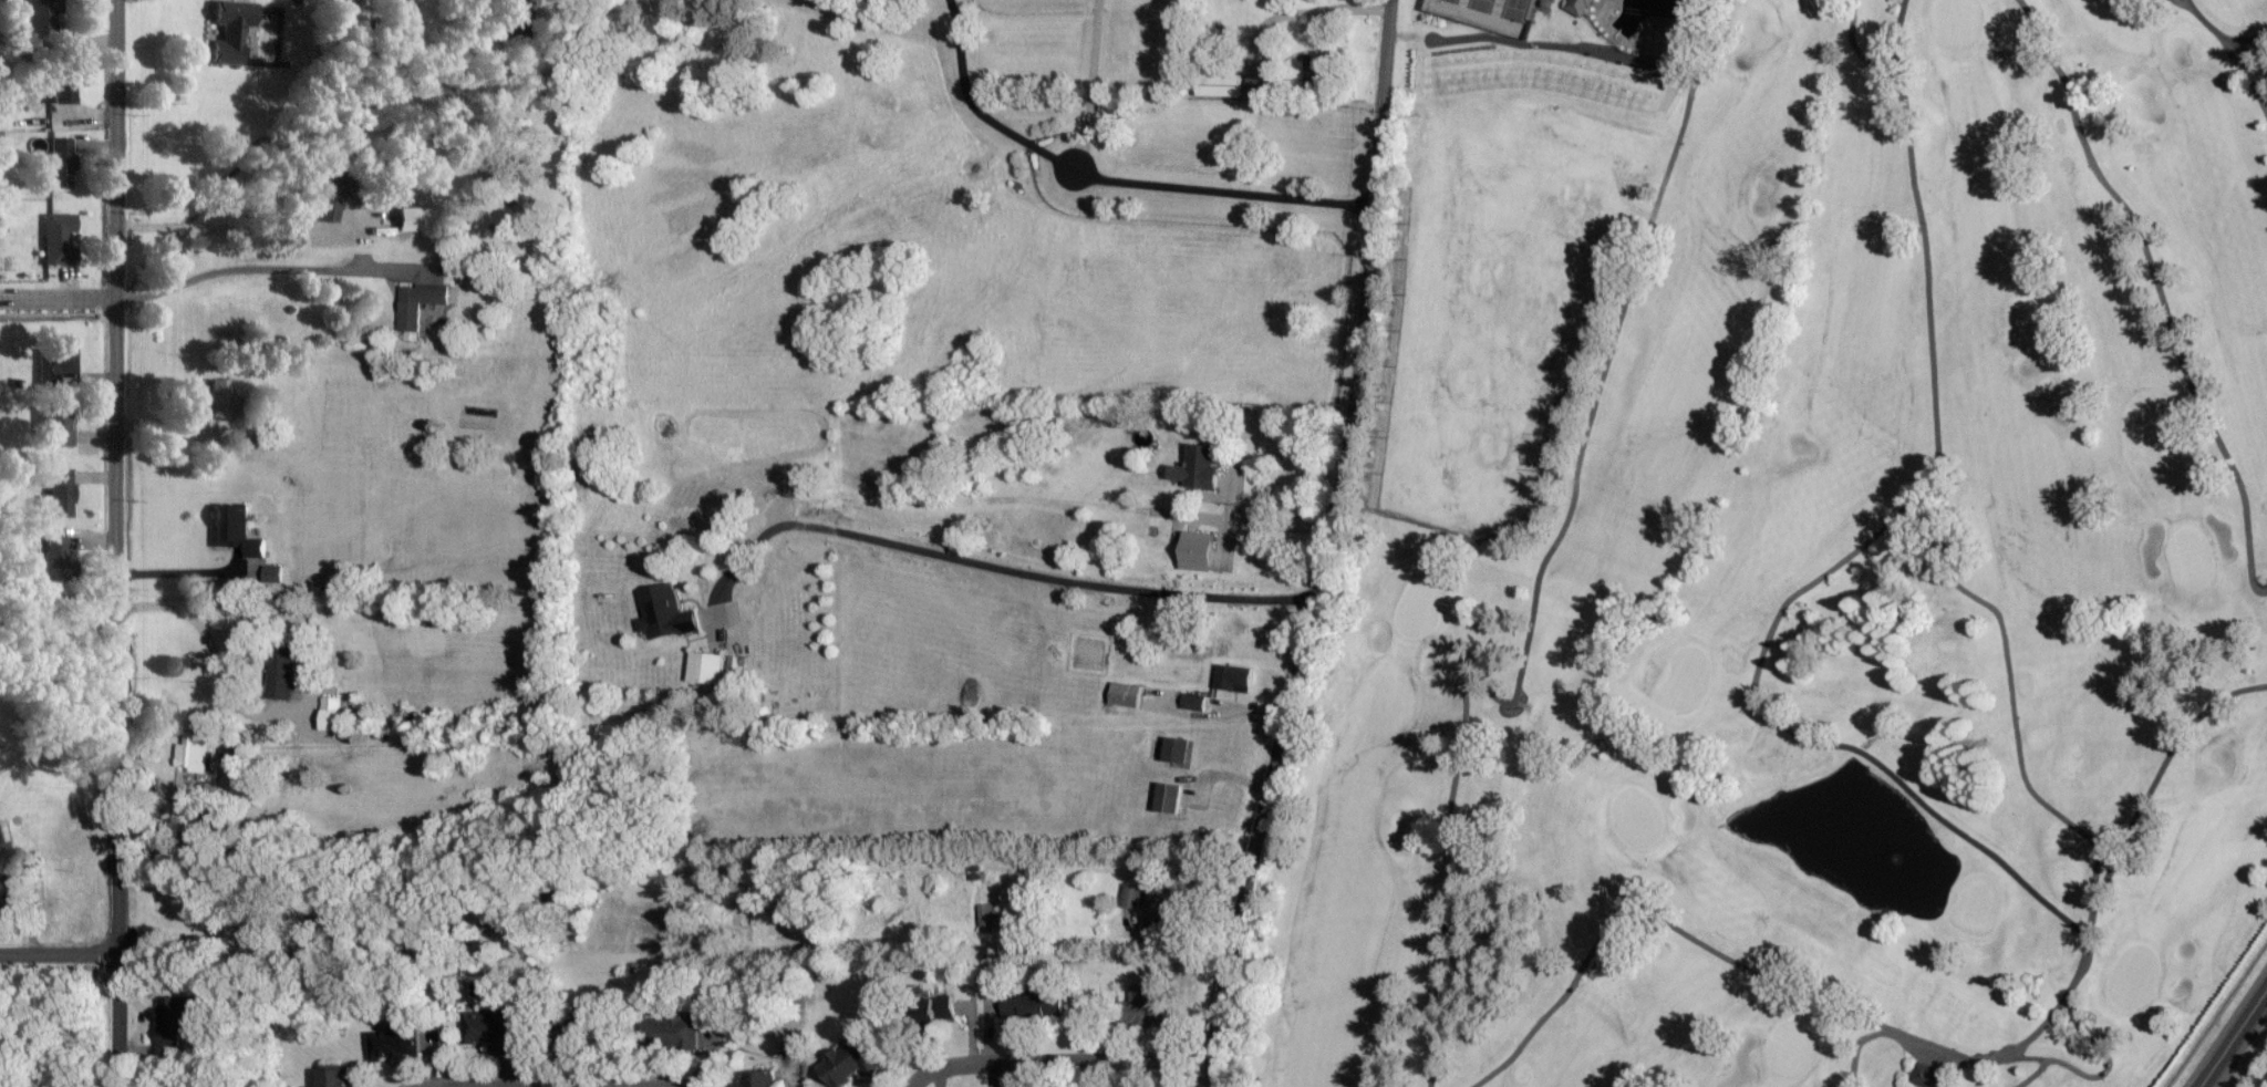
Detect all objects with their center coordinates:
building: (1582, 7)
park: (1489, 13)
building: (43, 25)
building: (231, 31)
building: (1313, 66)
road: (1097, 84)
building: (1221, 85)
building: (1260, 85)
building: (62, 86)
road: (983, 107)
building: (62, 162)
road: (1225, 190)
building: (329, 194)
road: (242, 227)
building: (60, 238)
road: (257, 269)
road: (59, 297)
building: (420, 302)
building: (56, 364)
building: (221, 397)
building: (56, 425)
building: (1199, 467)
building: (59, 493)
road: (1250, 520)
building: (236, 529)
building: (1199, 540)
road: (118, 542)
road: (1325, 548)
park: (1794, 556)
building: (56, 557)
building: (1197, 559)
road: (983, 562)
building: (275, 573)
building: (665, 612)
road: (218, 641)
road: (61, 650)
building: (706, 666)
building: (282, 672)
building: (1234, 677)
building: (1128, 694)
building: (1194, 701)
building: (335, 714)
building: (1177, 748)
building: (195, 754)
building: (234, 770)
building: (1170, 797)
building: (7, 871)
building: (1133, 896)
building: (1158, 907)
building: (990, 918)
road: (60, 953)
building: (1033, 1005)
building: (1141, 1005)
building: (935, 1008)
building: (175, 1018)
building: (493, 1028)
building: (670, 1032)
building: (572, 1034)
road: (2230, 1035)
building: (395, 1044)
road: (1055, 1059)
building: (849, 1062)
building: (335, 1075)
building: (1925, 1075)
building: (760, 1079)

